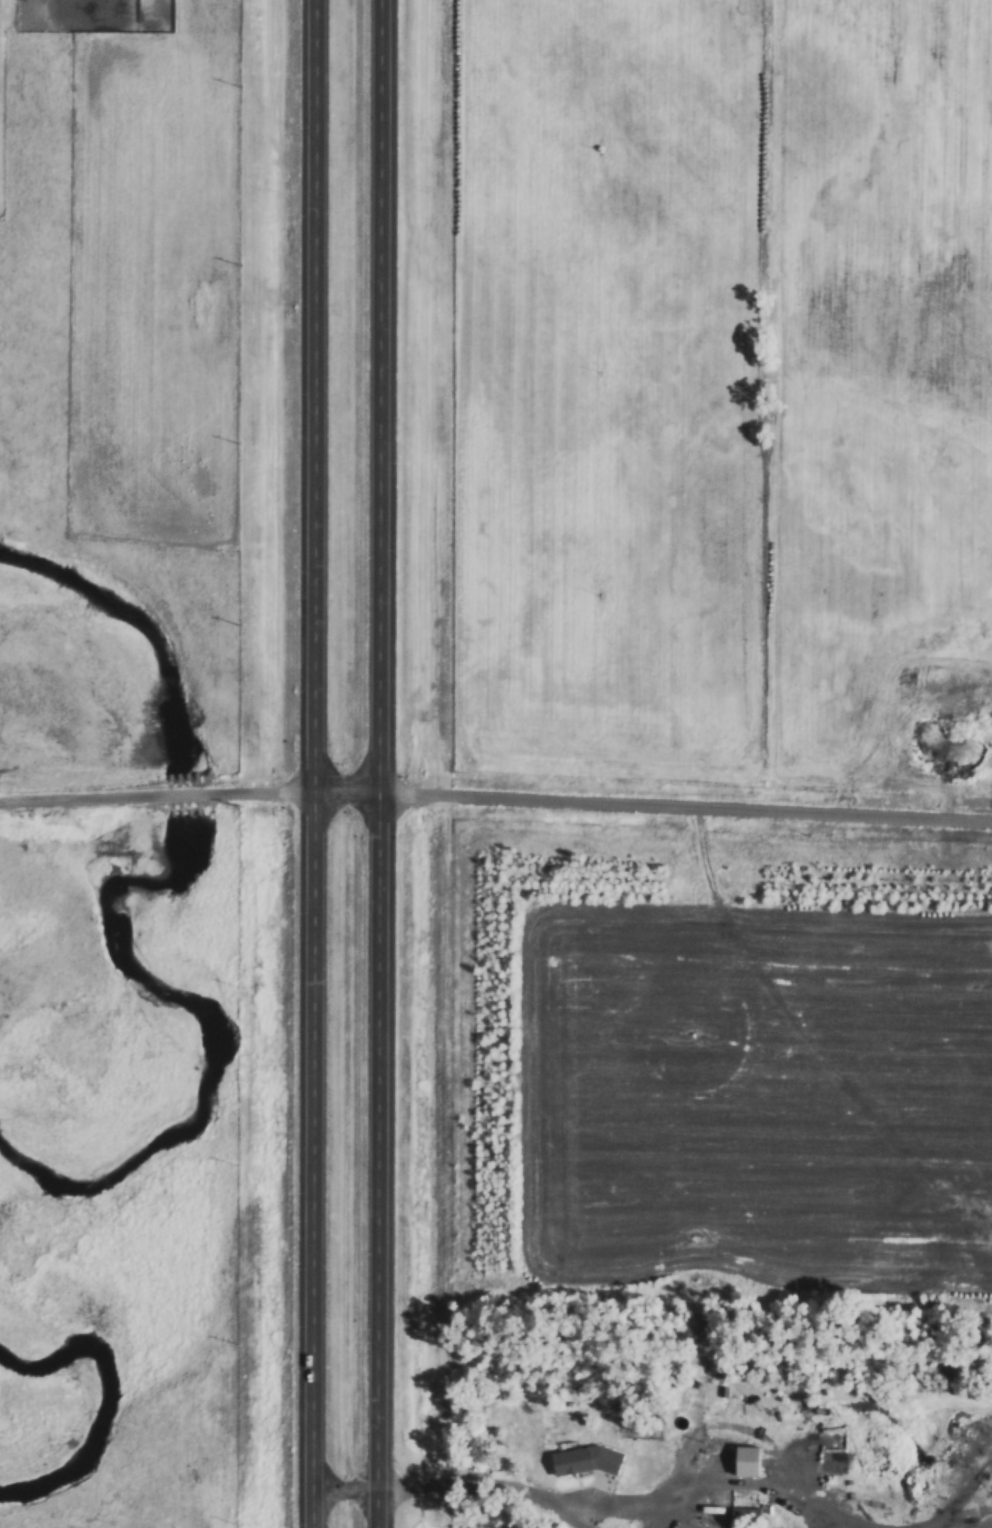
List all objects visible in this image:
building: (922, 479)
river: (137, 616)
road: (894, 755)
road: (316, 763)
road: (385, 764)
river: (186, 794)
road: (496, 798)
river: (221, 1045)
crop: (754, 1089)
river: (110, 1398)
building: (574, 1461)
road: (458, 1488)
road: (628, 1511)
building: (747, 1514)

